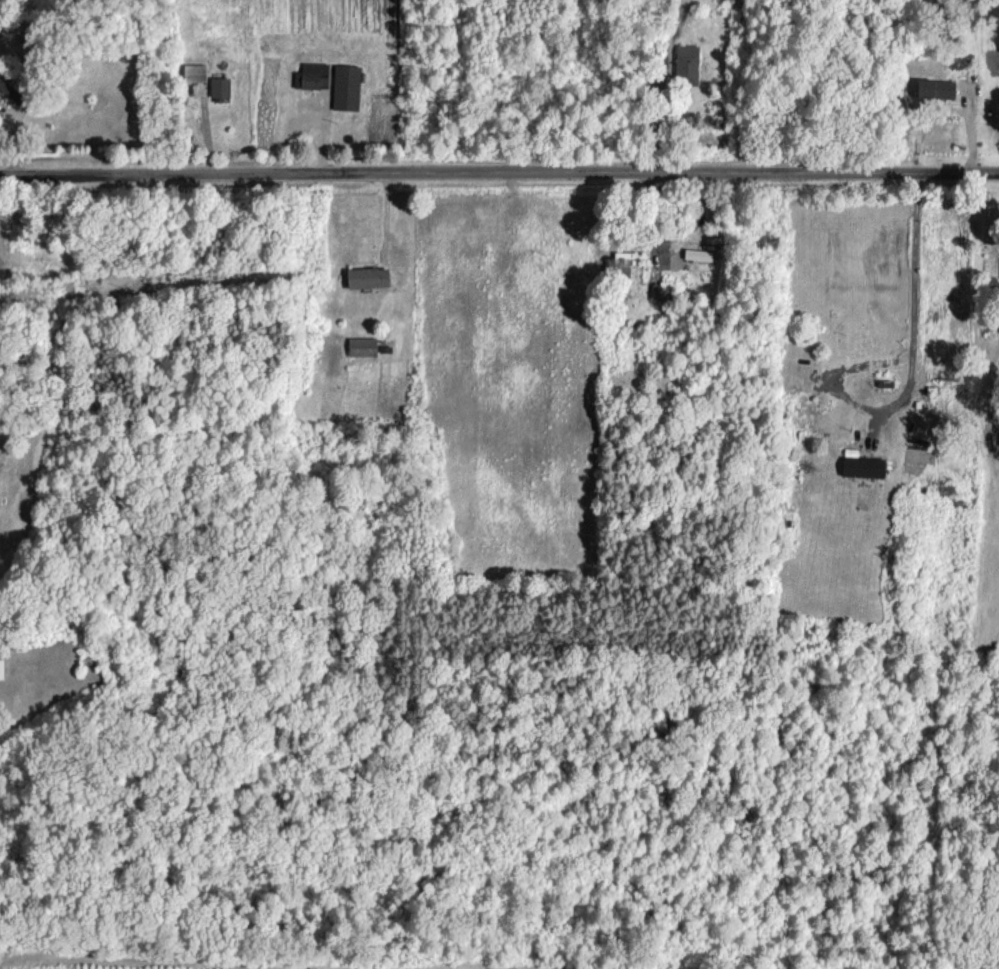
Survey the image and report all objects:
building: (687, 64)
building: (193, 72)
building: (314, 75)
building: (346, 86)
building: (934, 88)
road: (499, 176)
road: (983, 228)
building: (698, 254)
building: (617, 266)
building: (366, 277)
building: (361, 346)
road: (914, 371)
building: (861, 466)
building: (2, 669)

